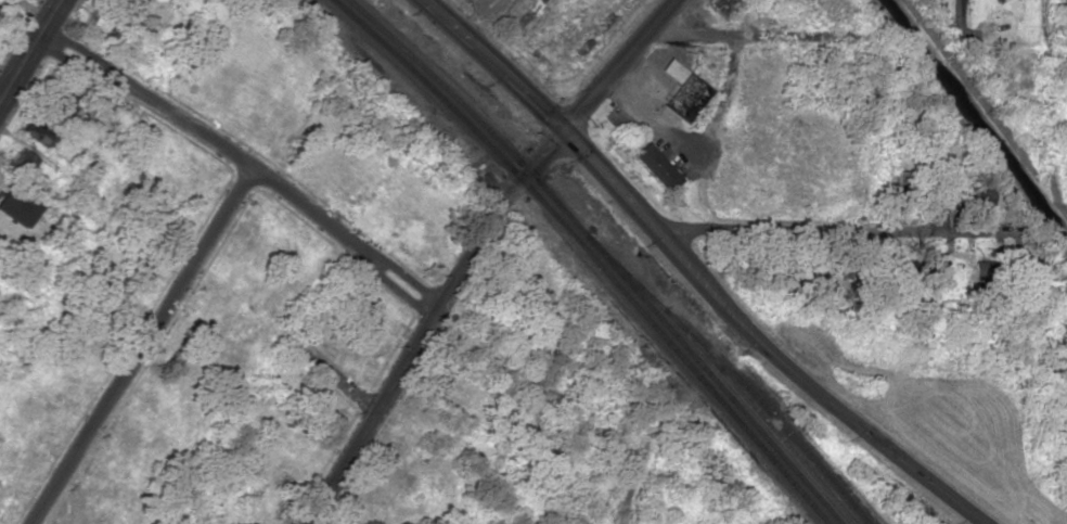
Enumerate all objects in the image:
building: (131, 3)
building: (721, 5)
building: (1064, 13)
road: (959, 14)
building: (102, 23)
road: (753, 33)
road: (27, 44)
road: (494, 64)
road: (619, 64)
building: (682, 90)
building: (62, 99)
traffic signals: (565, 128)
building: (37, 129)
road: (542, 152)
building: (21, 161)
building: (648, 161)
road: (242, 166)
building: (969, 188)
building: (16, 205)
road: (819, 232)
railway: (588, 254)
railway: (602, 254)
building: (928, 267)
building: (1030, 270)
road: (401, 291)
road: (759, 344)
road: (138, 347)
road: (414, 349)
road: (332, 374)
road: (643, 450)

